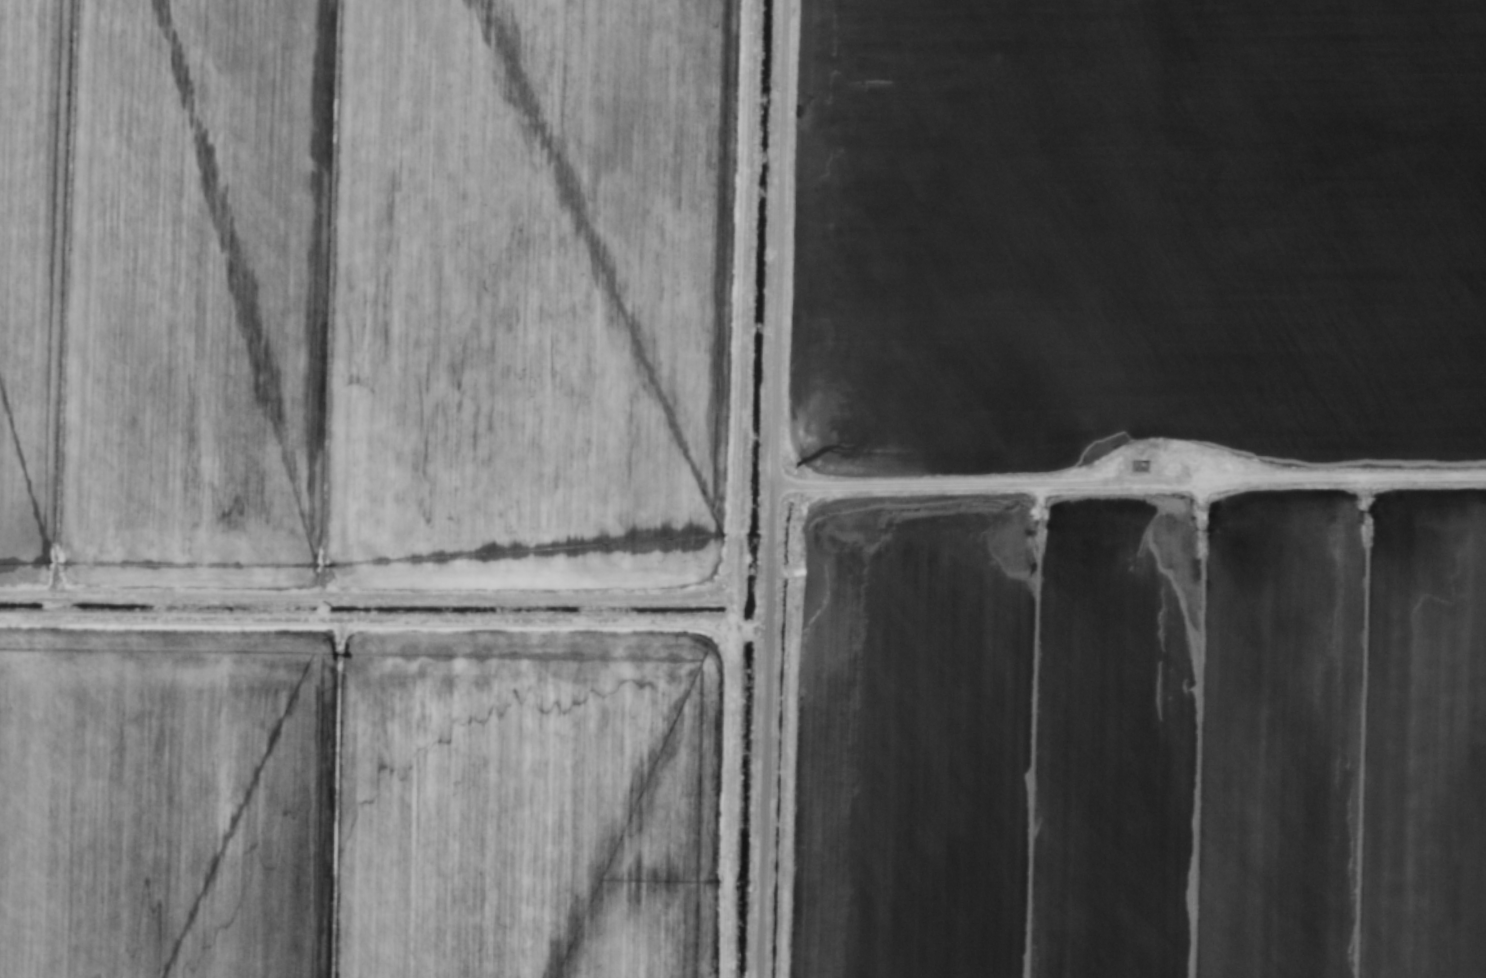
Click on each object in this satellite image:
road: (980, 483)
crop: (743, 489)
road: (774, 489)
road: (367, 598)

